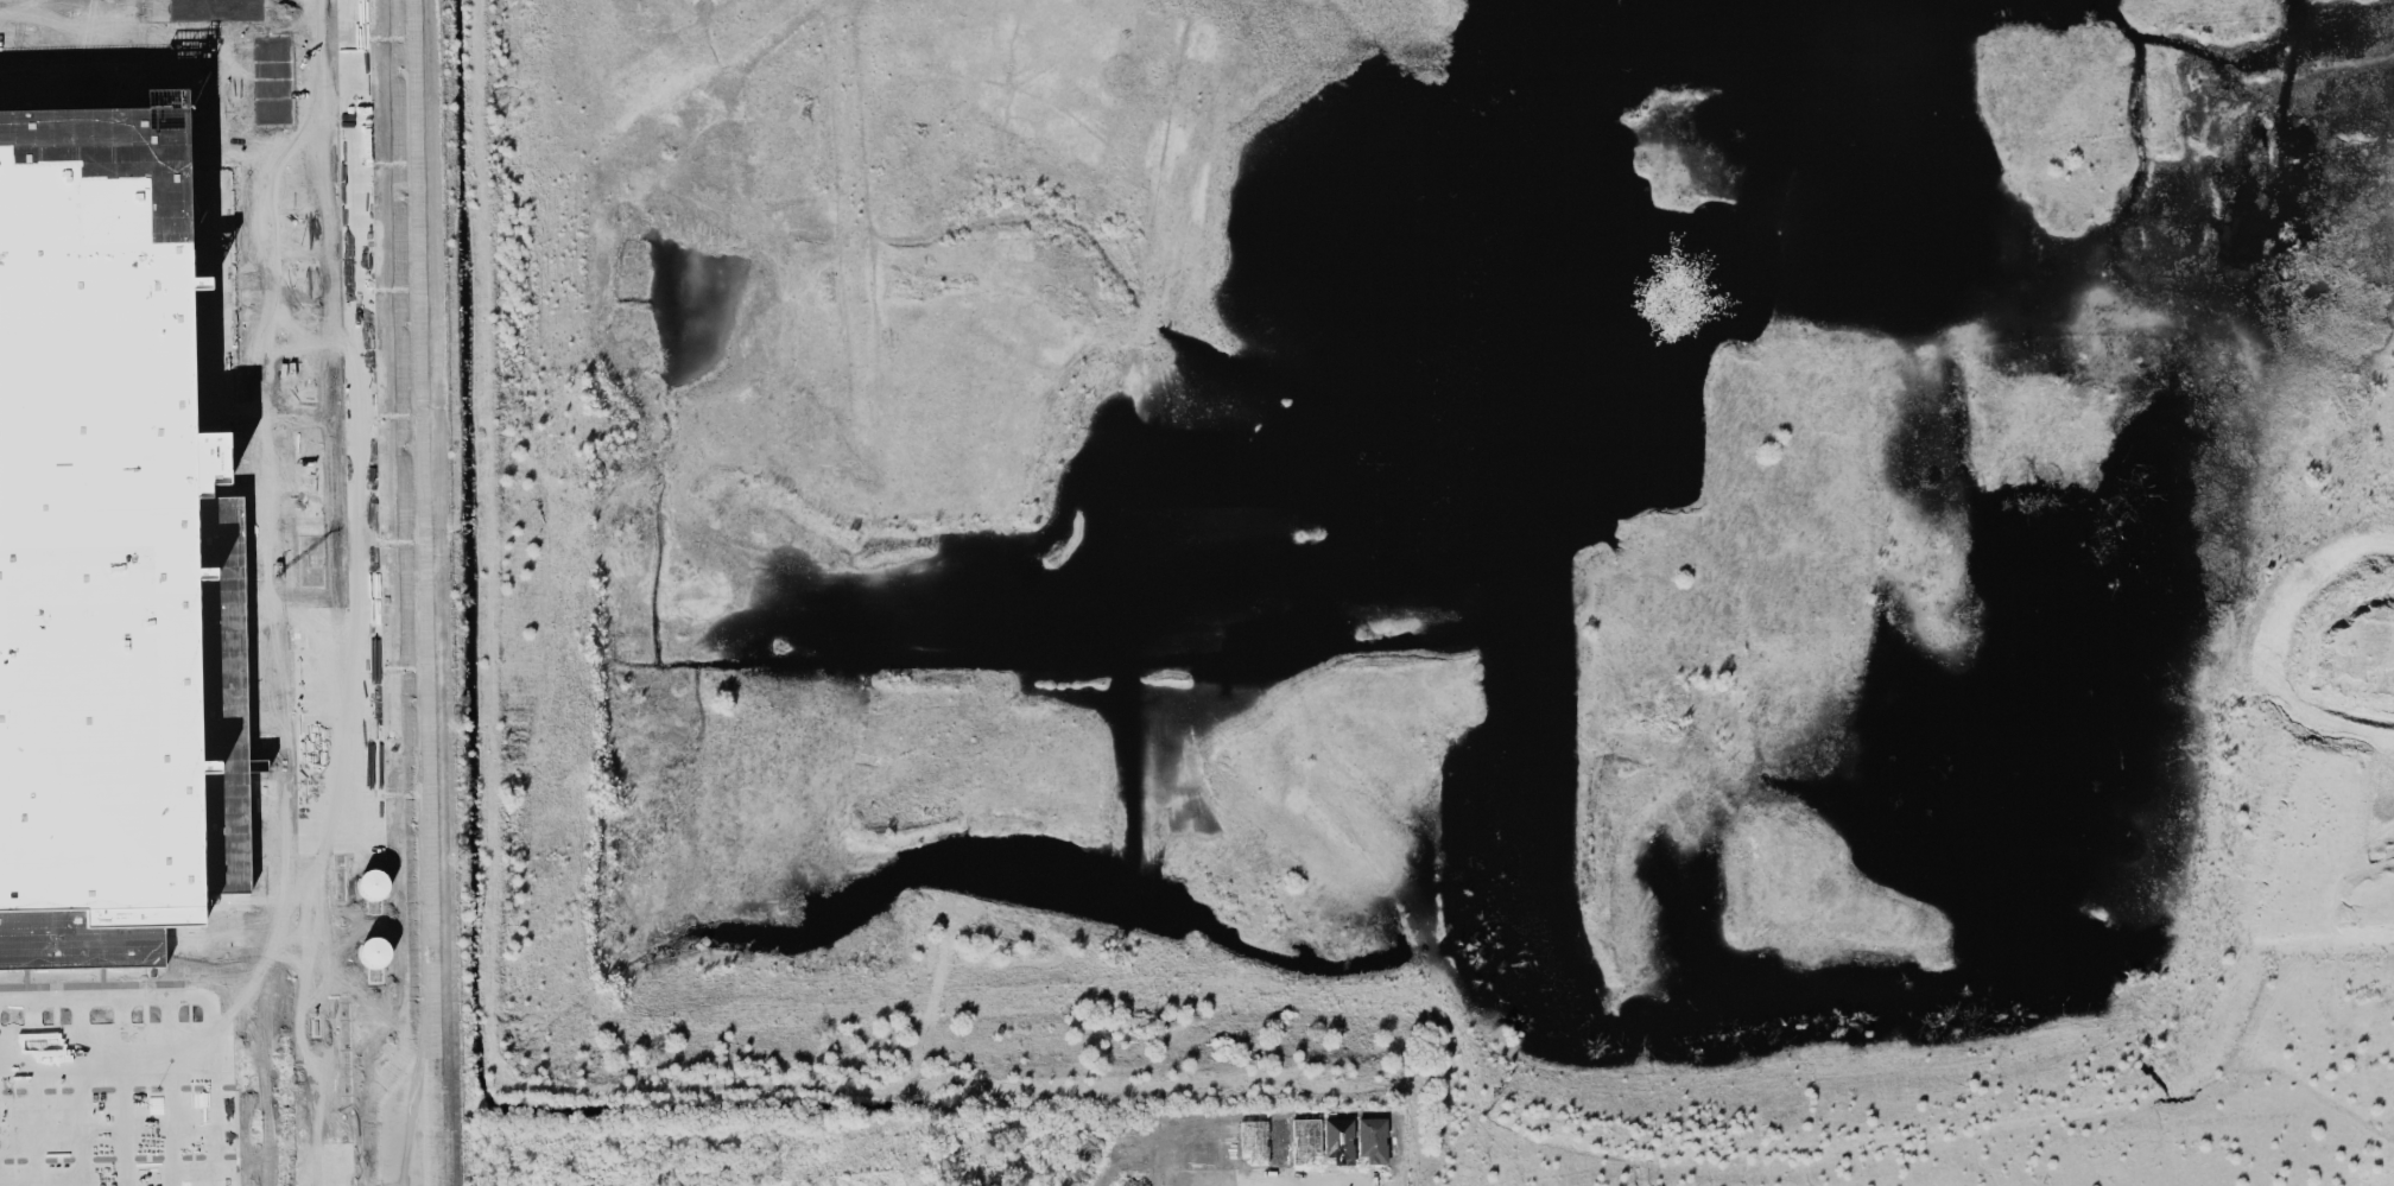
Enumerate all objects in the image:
building: (96, 509)
road: (316, 592)
road: (2275, 642)
road: (197, 996)
road: (82, 1091)
road: (125, 1091)
road: (170, 1091)
road: (33, 1092)
road: (1273, 1181)
road: (1297, 1184)

